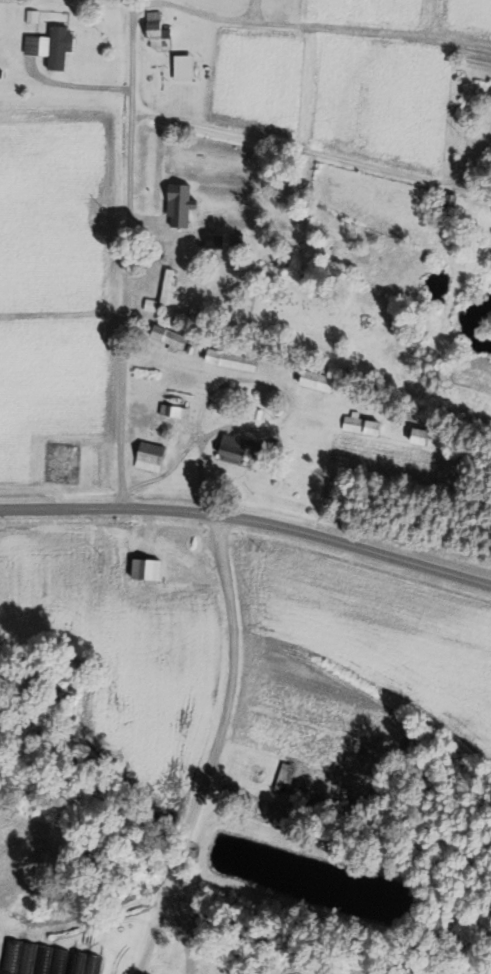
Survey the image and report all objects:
road: (131, 8)
road: (200, 12)
crop: (367, 13)
building: (32, 16)
crop: (465, 18)
building: (156, 29)
road: (358, 29)
building: (49, 47)
building: (183, 64)
building: (1, 73)
crop: (256, 79)
road: (79, 85)
crop: (383, 99)
road: (310, 152)
road: (474, 166)
building: (446, 203)
building: (179, 204)
crop: (57, 208)
road: (164, 233)
building: (215, 239)
building: (236, 239)
road: (126, 262)
road: (140, 266)
building: (166, 286)
building: (150, 305)
building: (193, 308)
road: (62, 315)
building: (169, 337)
building: (189, 350)
building: (230, 359)
building: (316, 380)
road: (272, 383)
crop: (53, 390)
building: (173, 410)
building: (257, 414)
building: (360, 424)
building: (419, 436)
building: (239, 448)
building: (149, 456)
park: (63, 462)
road: (61, 508)
road: (309, 535)
building: (145, 569)
crop: (125, 651)
crop: (354, 660)
road: (215, 750)
building: (282, 776)
road: (182, 930)
building: (10, 956)
building: (26, 958)
building: (42, 959)
building: (57, 960)
building: (77, 963)
building: (91, 964)
crop: (306, 972)

